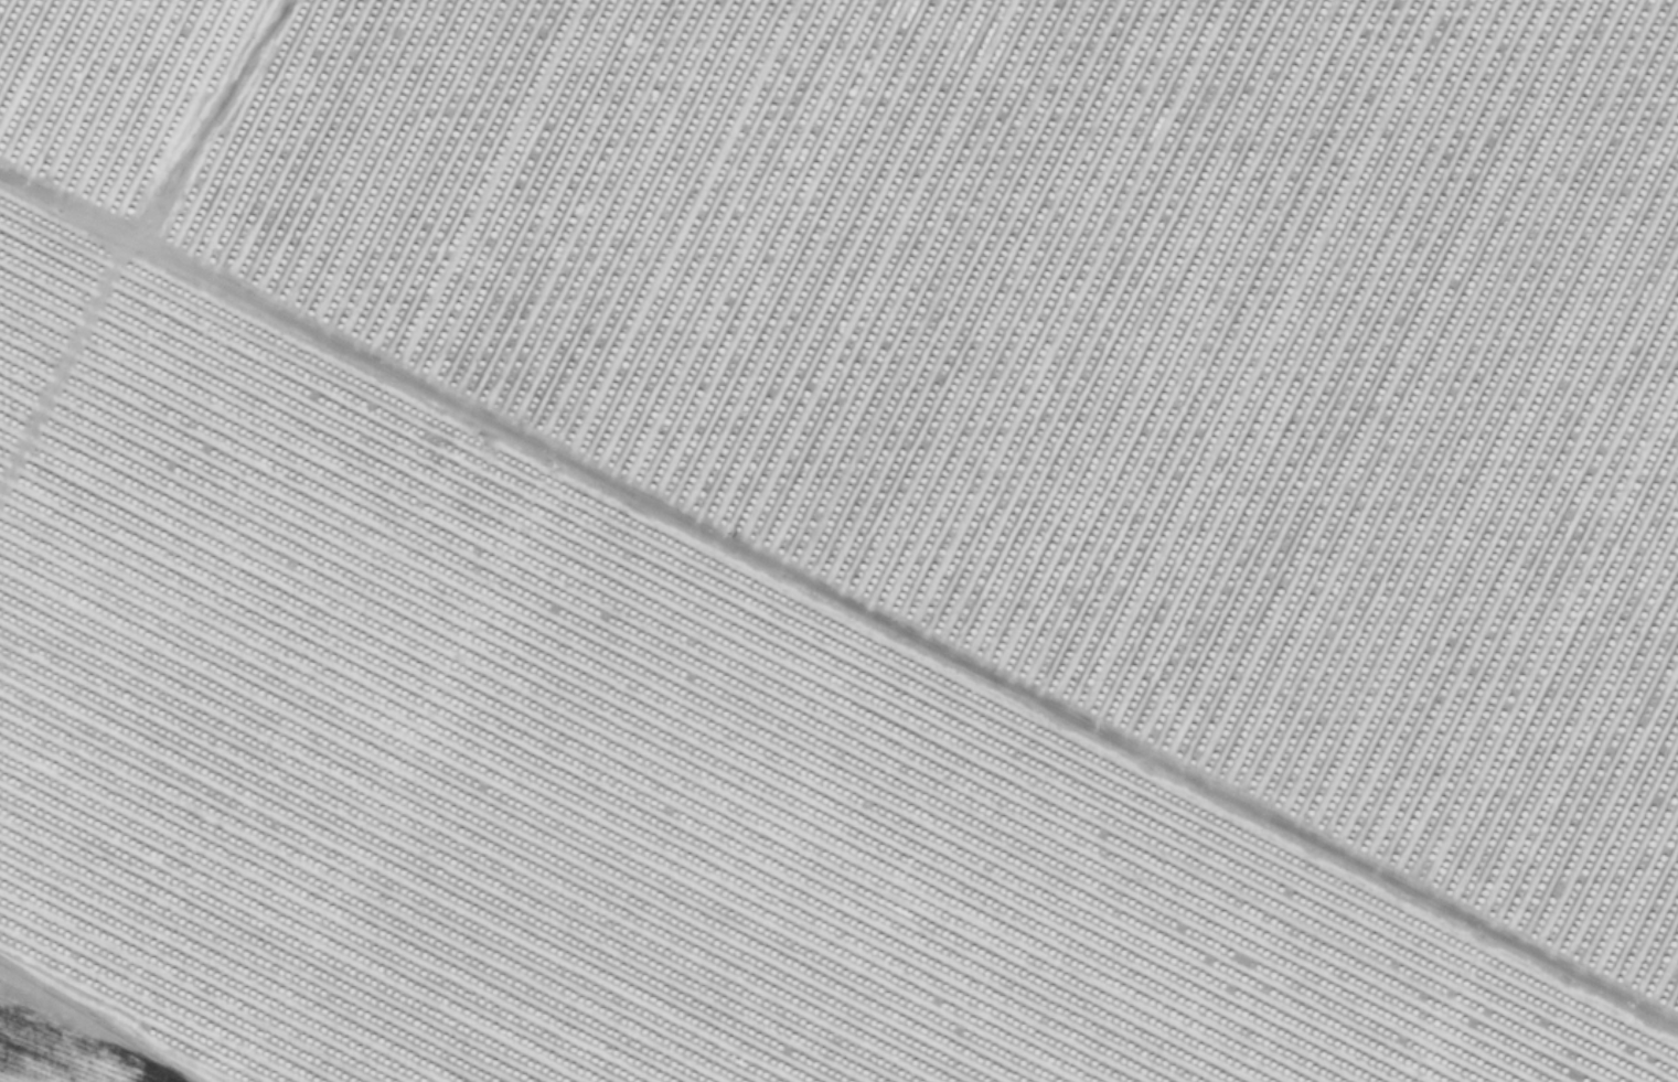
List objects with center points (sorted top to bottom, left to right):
crop: (838, 540)

